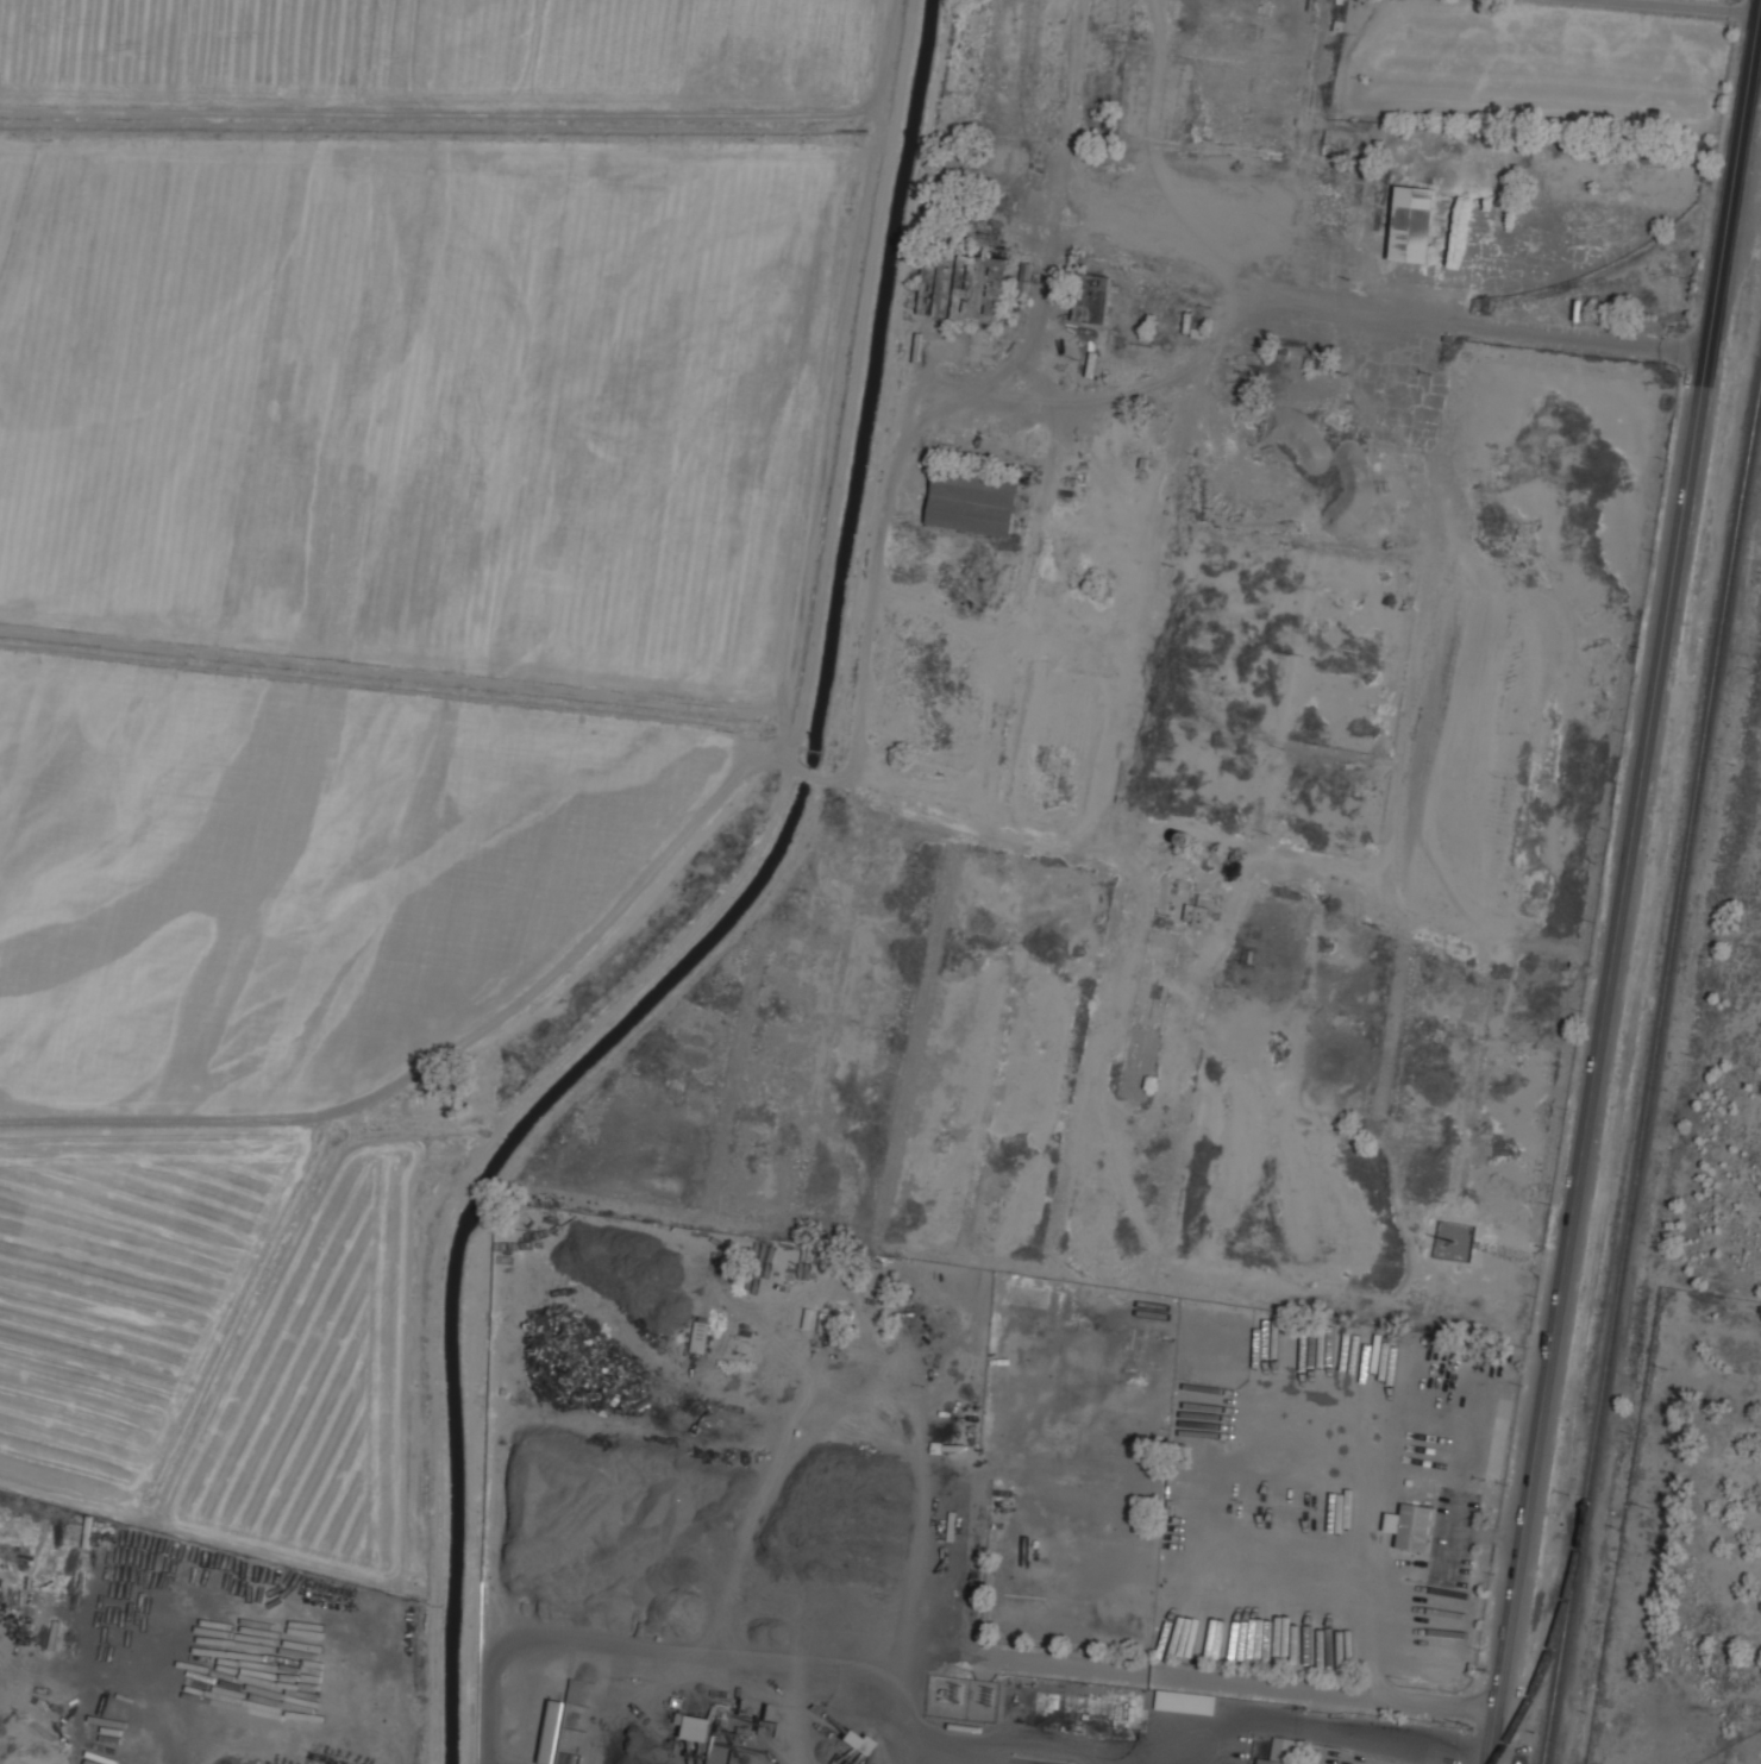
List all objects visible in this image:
road: (1680, 7)
crop: (1533, 37)
railway: (1760, 133)
building: (1414, 224)
railway: (1603, 269)
building: (964, 287)
building: (1024, 290)
building: (1092, 299)
building: (972, 502)
crop: (378, 654)
road: (1624, 893)
building: (1202, 914)
railway: (1652, 1079)
building: (796, 1275)
building: (842, 1297)
building: (700, 1336)
building: (1149, 1418)
building: (1411, 1526)
railway: (1549, 1650)
road: (1162, 1674)
building: (1185, 1701)
building: (697, 1727)
building: (552, 1731)
road: (990, 1738)
building: (1284, 1752)

